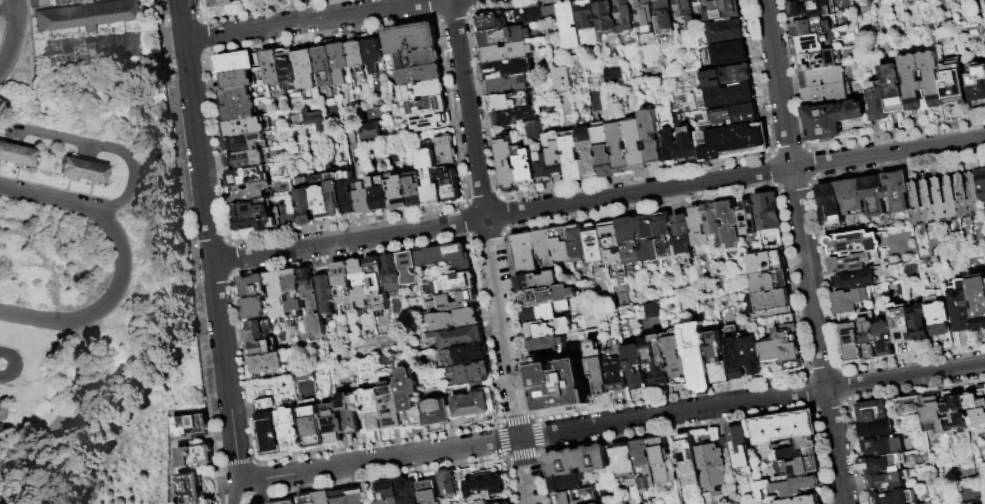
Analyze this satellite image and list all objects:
building: (261, 0)
building: (874, 0)
parking lot: (68, 1)
building: (795, 1)
building: (695, 2)
building: (221, 3)
building: (811, 8)
road: (7, 10)
building: (721, 10)
road: (14, 12)
building: (685, 12)
building: (549, 14)
building: (86, 15)
building: (531, 15)
building: (624, 16)
building: (644, 17)
building: (663, 18)
building: (605, 19)
road: (182, 20)
road: (311, 20)
building: (490, 21)
building: (588, 23)
building: (568, 24)
building: (810, 26)
building: (725, 32)
building: (502, 36)
building: (409, 39)
building: (811, 41)
road: (11, 50)
building: (505, 53)
building: (728, 53)
building: (371, 55)
building: (819, 58)
road: (34, 59)
building: (356, 59)
building: (415, 59)
building: (234, 63)
building: (323, 63)
building: (339, 63)
building: (270, 68)
building: (287, 69)
building: (509, 69)
building: (820, 74)
building: (419, 75)
building: (559, 77)
building: (727, 77)
building: (236, 80)
building: (931, 81)
building: (976, 81)
building: (952, 82)
building: (507, 85)
building: (893, 87)
building: (421, 91)
building: (823, 92)
building: (235, 96)
building: (725, 96)
building: (876, 100)
building: (508, 102)
building: (423, 107)
road: (468, 109)
building: (238, 112)
building: (313, 118)
building: (730, 118)
building: (830, 119)
building: (520, 120)
building: (429, 122)
building: (242, 128)
building: (368, 130)
building: (650, 137)
building: (733, 142)
building: (242, 143)
building: (636, 145)
building: (679, 145)
road: (105, 147)
building: (619, 147)
road: (198, 150)
building: (603, 150)
building: (444, 151)
building: (587, 151)
building: (555, 154)
building: (16, 155)
building: (571, 157)
building: (244, 161)
building: (514, 163)
building: (541, 167)
building: (81, 170)
building: (245, 177)
road: (735, 177)
building: (430, 178)
building: (980, 184)
building: (449, 185)
building: (414, 190)
building: (896, 191)
building: (249, 192)
building: (346, 193)
building: (378, 193)
building: (333, 194)
building: (396, 194)
building: (873, 194)
building: (849, 195)
building: (319, 196)
building: (972, 196)
building: (961, 197)
building: (362, 199)
building: (950, 199)
road: (51, 200)
building: (939, 201)
building: (303, 202)
building: (828, 204)
building: (916, 204)
building: (928, 204)
building: (767, 212)
building: (253, 217)
building: (747, 218)
building: (714, 224)
building: (730, 225)
building: (697, 227)
building: (663, 237)
building: (682, 237)
road: (349, 239)
building: (647, 239)
building: (628, 241)
building: (611, 242)
building: (560, 243)
building: (853, 243)
building: (577, 244)
building: (594, 245)
building: (544, 247)
road: (805, 251)
building: (524, 253)
park: (89, 257)
building: (445, 257)
building: (851, 262)
building: (766, 263)
building: (407, 269)
building: (391, 275)
building: (853, 279)
building: (359, 282)
building: (535, 282)
building: (769, 282)
building: (459, 283)
building: (376, 284)
building: (252, 286)
building: (343, 286)
building: (324, 288)
building: (293, 293)
building: (277, 296)
building: (546, 297)
building: (848, 300)
building: (311, 302)
building: (440, 302)
building: (768, 302)
building: (978, 302)
building: (961, 305)
road: (96, 306)
building: (253, 308)
building: (651, 309)
building: (542, 313)
building: (938, 317)
building: (918, 319)
building: (454, 320)
building: (901, 324)
road: (503, 328)
building: (547, 329)
building: (258, 330)
building: (867, 335)
building: (884, 336)
building: (459, 338)
building: (850, 343)
building: (790, 344)
building: (543, 345)
building: (772, 348)
building: (260, 349)
building: (469, 354)
building: (734, 355)
building: (751, 355)
building: (696, 356)
building: (717, 356)
building: (678, 358)
building: (656, 360)
building: (266, 364)
road: (16, 366)
building: (634, 367)
building: (597, 370)
road: (226, 371)
building: (470, 373)
building: (616, 375)
building: (560, 387)
building: (408, 398)
building: (473, 404)
building: (390, 406)
building: (909, 407)
building: (976, 408)
building: (372, 410)
building: (437, 412)
building: (350, 413)
building: (872, 413)
building: (2, 415)
building: (957, 415)
building: (934, 416)
road: (612, 422)
building: (333, 424)
building: (191, 426)
building: (311, 426)
building: (268, 427)
building: (290, 428)
building: (783, 429)
building: (876, 432)
building: (738, 449)
building: (882, 449)
building: (797, 451)
building: (195, 457)
building: (623, 461)
building: (575, 462)
building: (660, 462)
building: (687, 462)
building: (643, 465)
building: (711, 466)
building: (883, 466)
building: (797, 467)
road: (525, 471)
building: (445, 483)
building: (888, 483)
building: (568, 484)
building: (477, 485)
road: (18, 486)
building: (795, 487)
road: (256, 488)
building: (190, 489)
building: (406, 491)
road: (233, 492)
building: (384, 493)
building: (426, 493)
building: (355, 496)
building: (564, 497)
building: (323, 498)
building: (339, 498)
building: (894, 498)
building: (306, 499)
building: (808, 500)
building: (284, 502)
building: (484, 502)
building: (972, 502)

